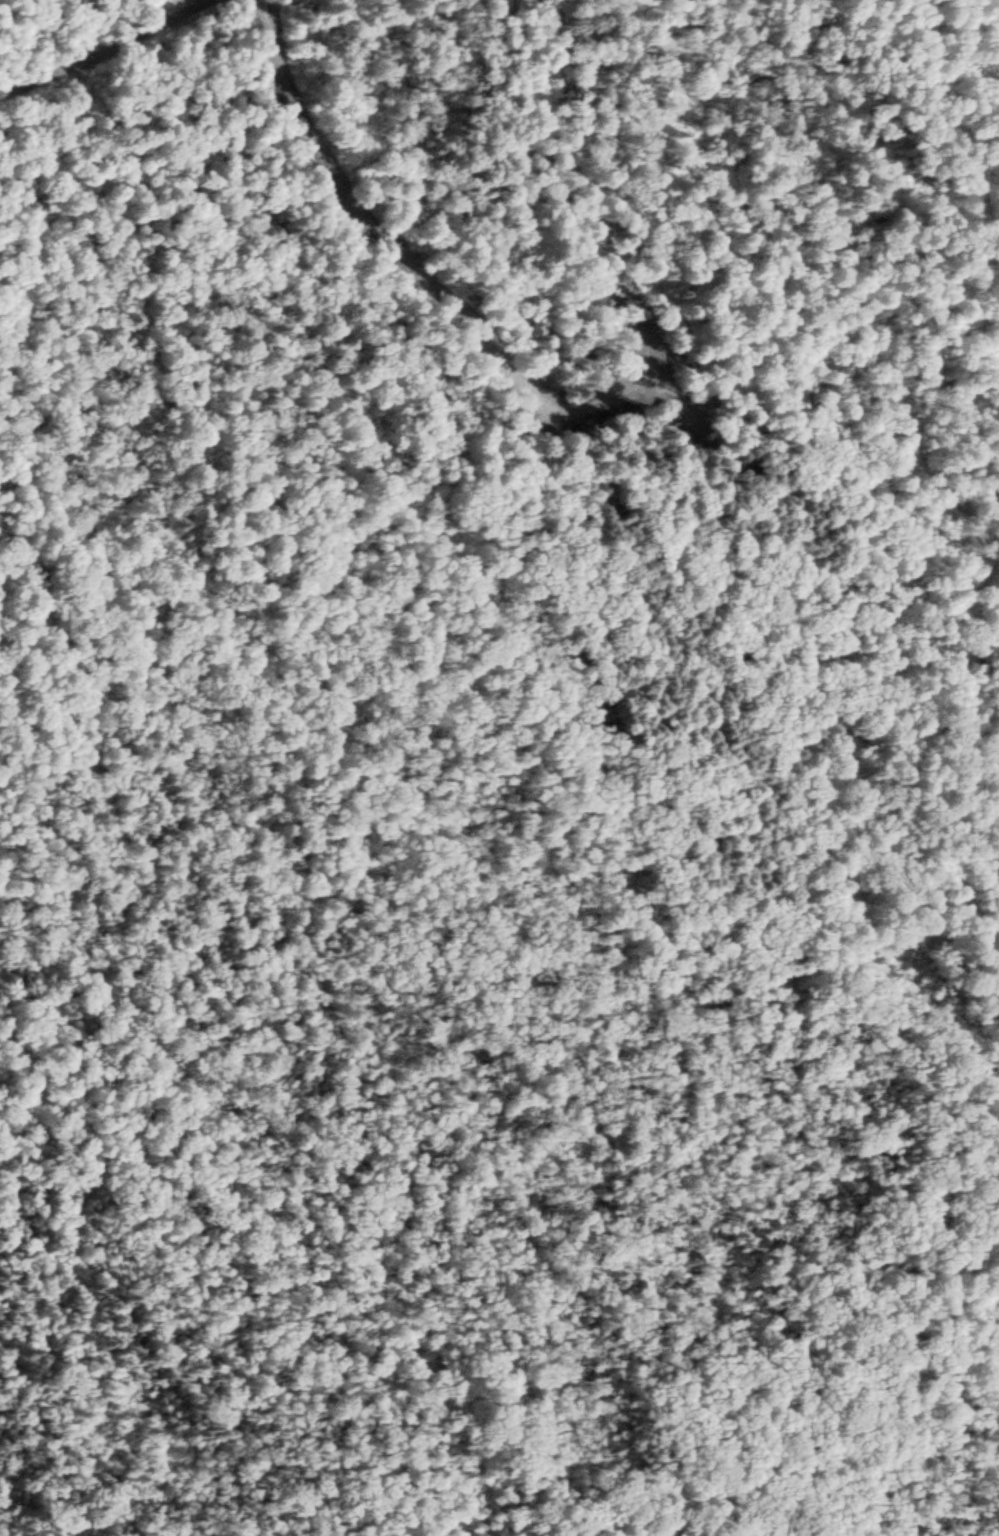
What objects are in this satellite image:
road: (112, 48)

